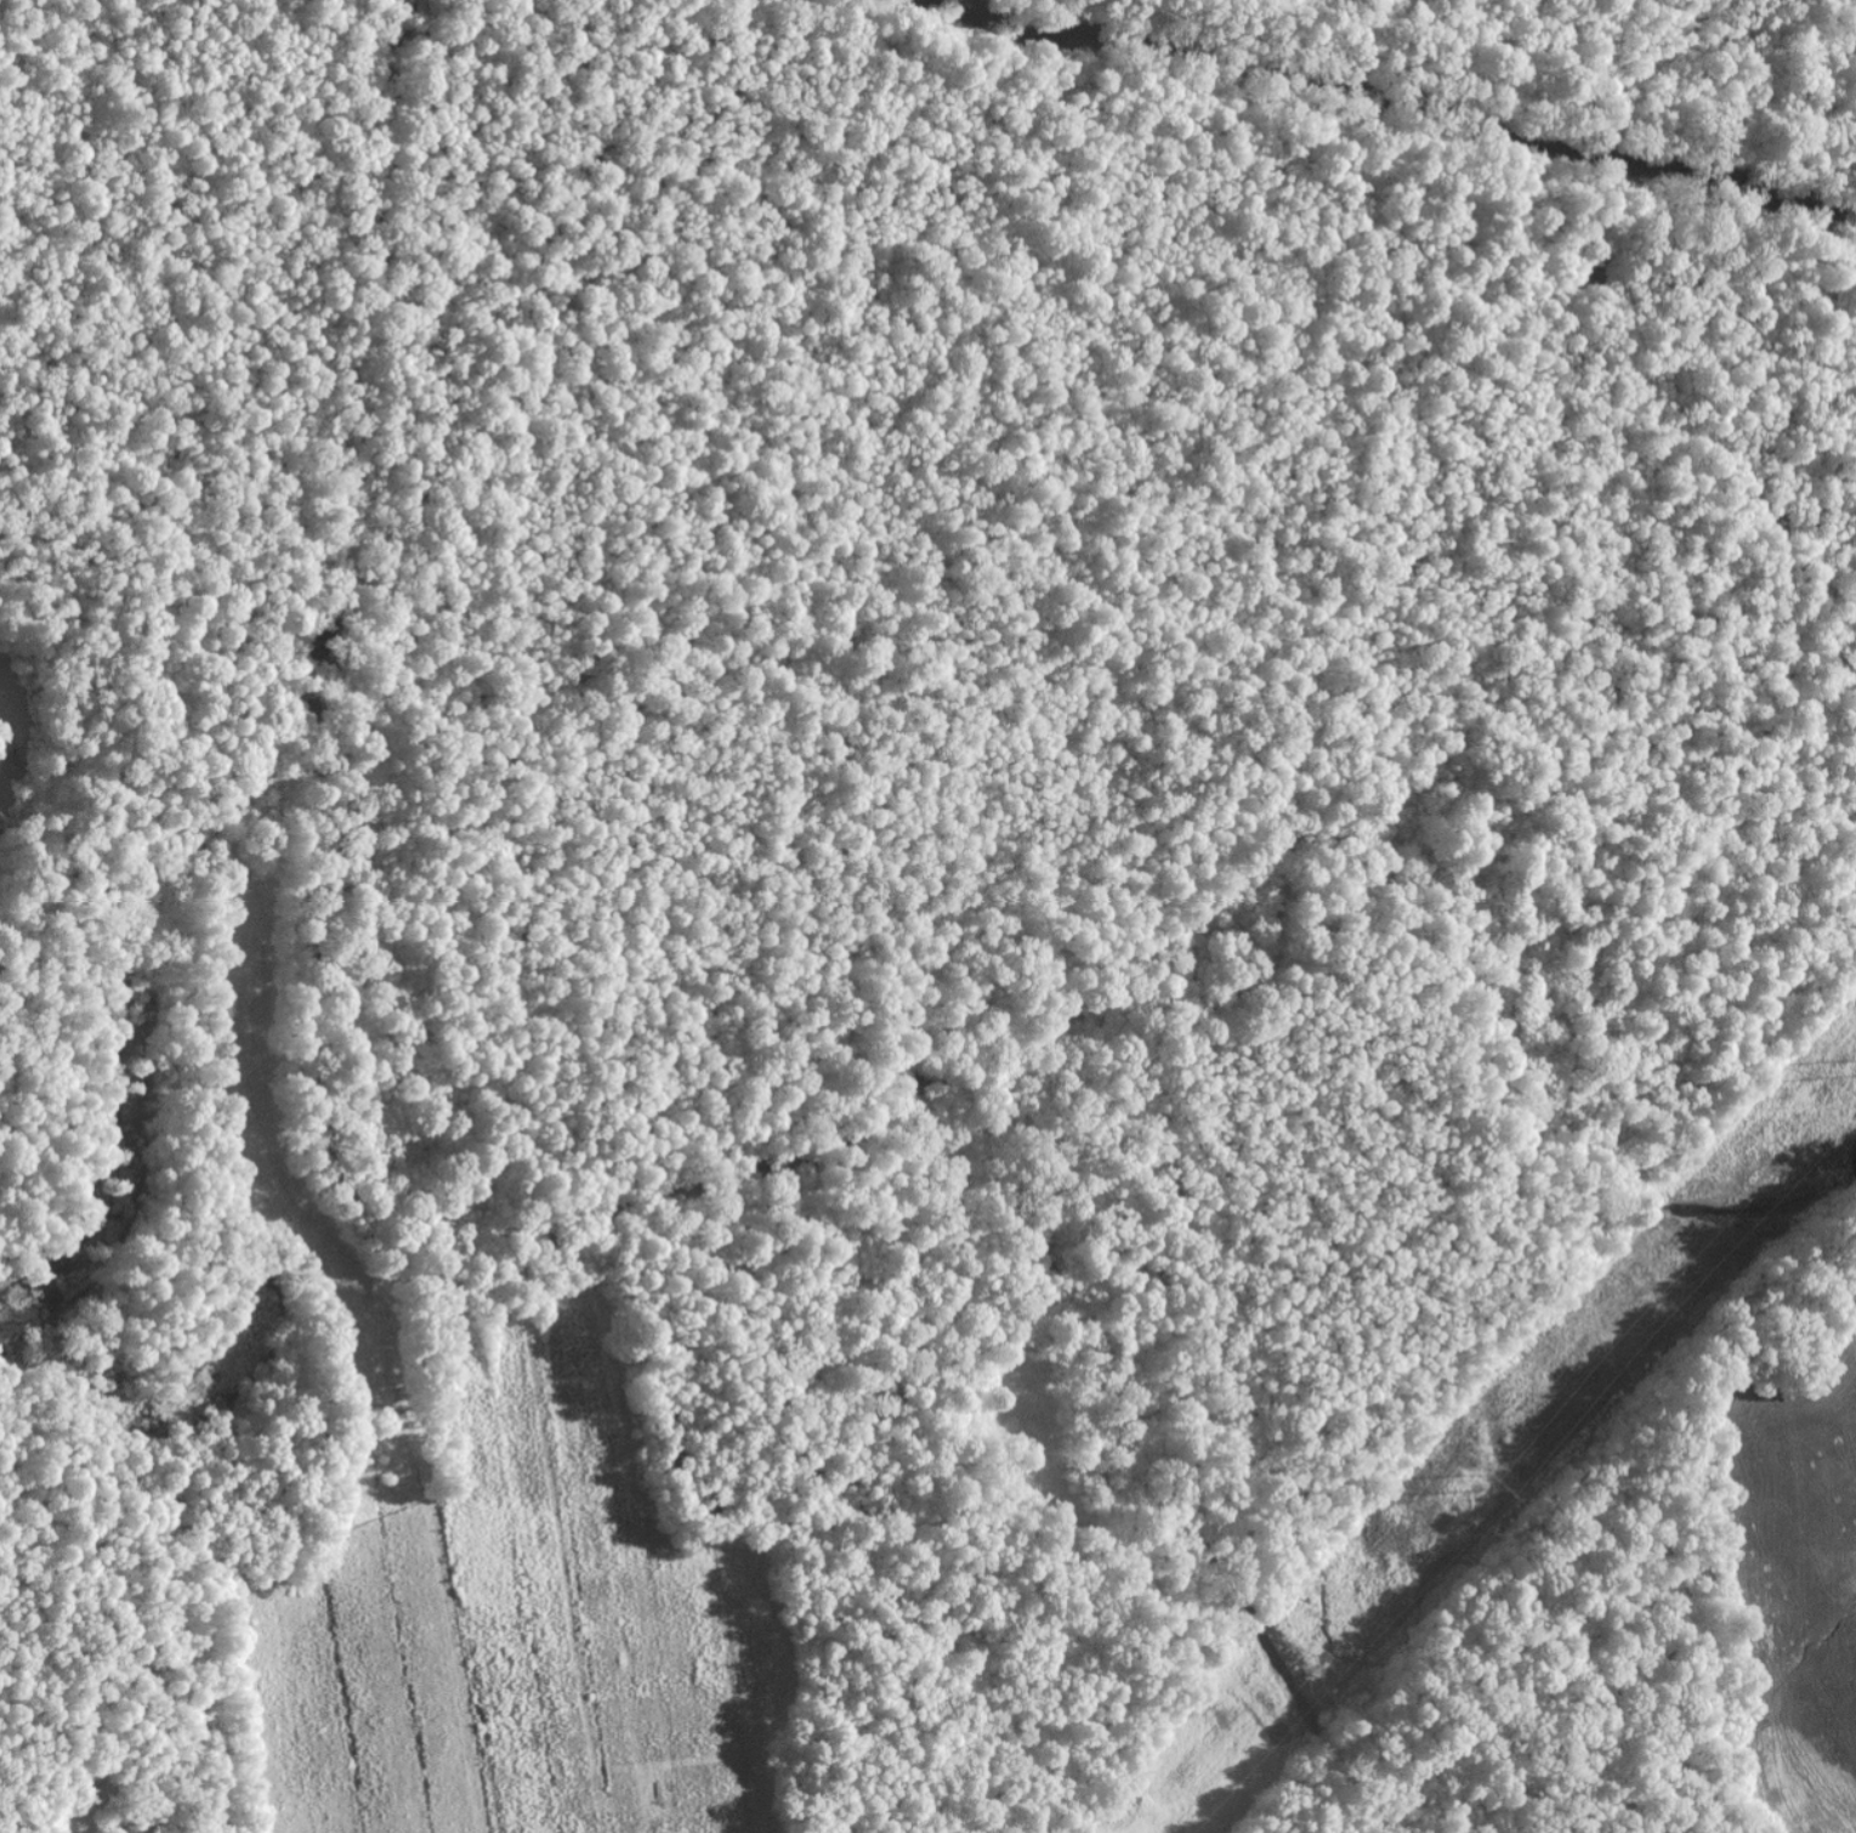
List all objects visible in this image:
power tower: (1481, 1475)

